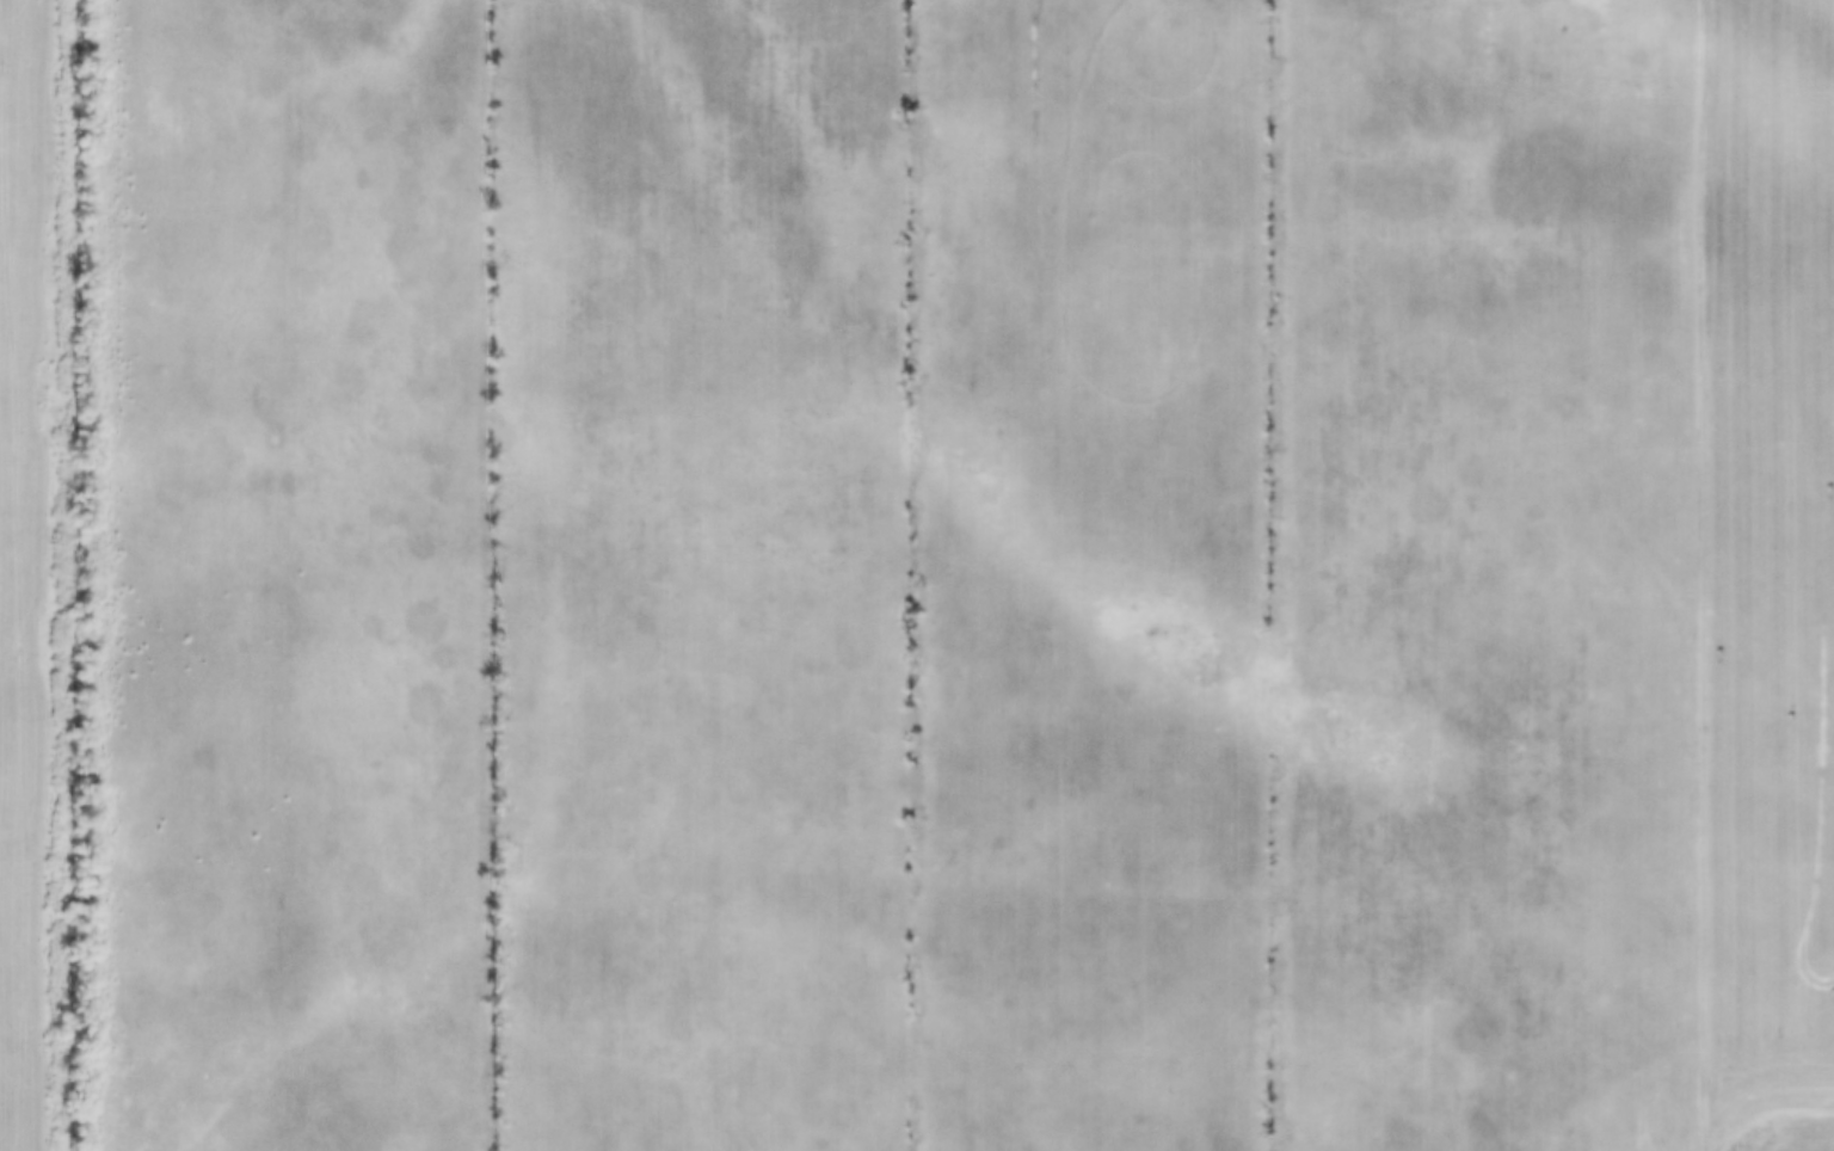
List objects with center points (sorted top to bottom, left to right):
road: (1693, 574)

